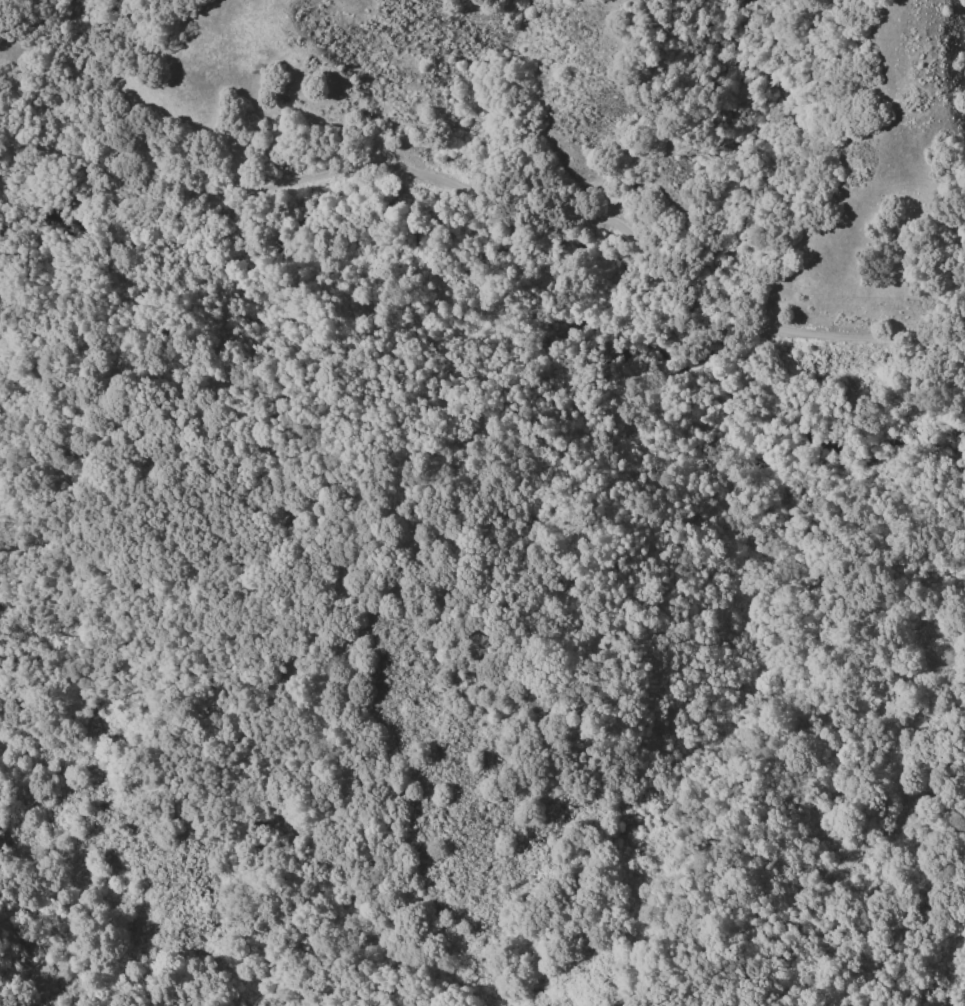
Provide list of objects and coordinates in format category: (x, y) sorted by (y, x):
road: (485, 195)
road: (946, 352)

